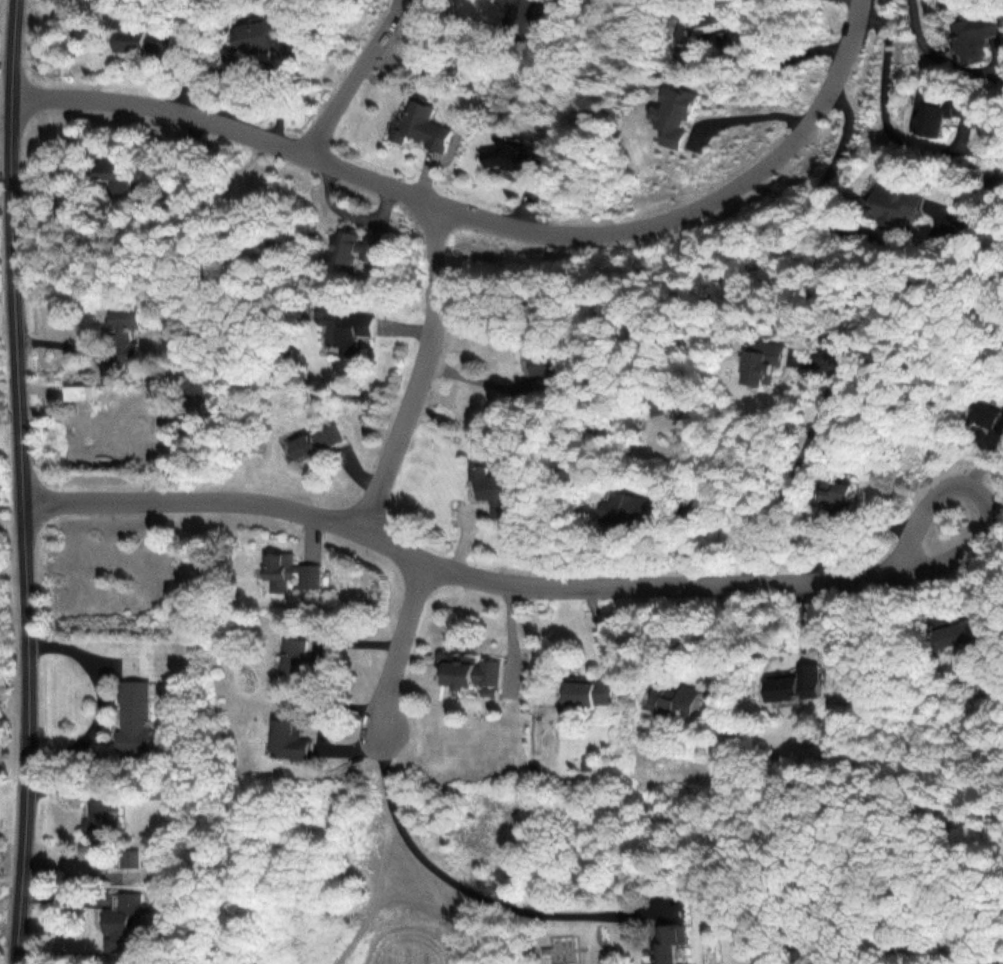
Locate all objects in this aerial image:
building: (969, 33)
building: (686, 35)
building: (143, 40)
building: (258, 42)
road: (360, 77)
building: (932, 110)
building: (424, 127)
building: (515, 158)
building: (111, 174)
building: (886, 202)
road: (482, 218)
building: (356, 248)
building: (123, 331)
building: (349, 331)
building: (533, 357)
road: (424, 371)
building: (196, 379)
building: (985, 415)
building: (316, 442)
road: (23, 482)
building: (487, 490)
building: (829, 490)
building: (622, 510)
building: (290, 569)
road: (597, 586)
building: (958, 632)
road: (400, 645)
building: (293, 657)
building: (466, 673)
building: (792, 684)
building: (583, 691)
building: (670, 699)
building: (132, 715)
building: (288, 738)
building: (100, 811)
building: (95, 857)
building: (130, 858)
building: (122, 922)
building: (663, 944)

